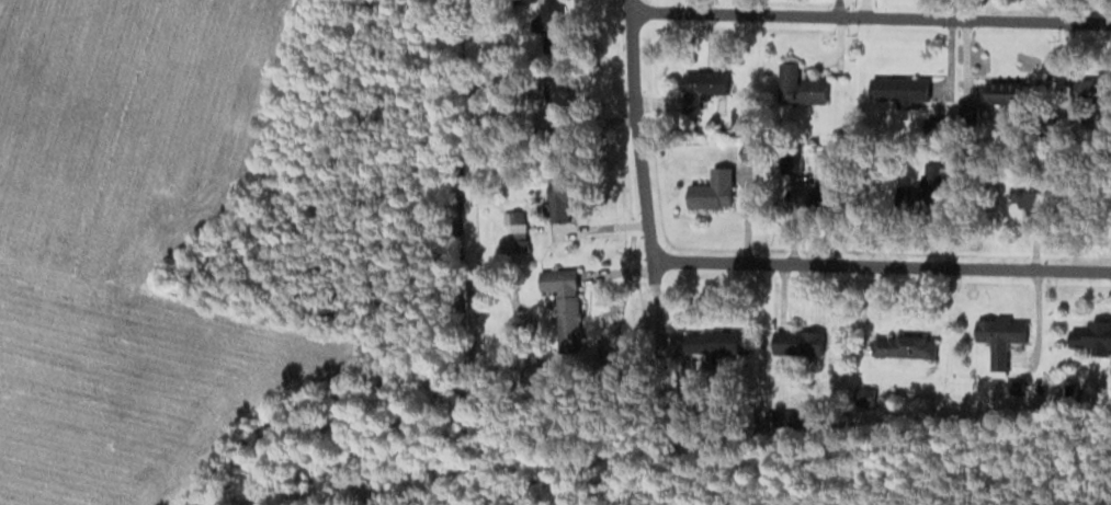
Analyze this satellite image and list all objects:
road: (870, 16)
building: (551, 24)
building: (702, 88)
building: (1091, 90)
building: (801, 91)
building: (1001, 92)
building: (898, 93)
building: (790, 161)
road: (642, 176)
building: (708, 185)
building: (1032, 203)
building: (558, 204)
road: (880, 267)
building: (566, 311)
building: (1091, 337)
building: (999, 338)
building: (716, 342)
building: (797, 342)
building: (903, 345)

